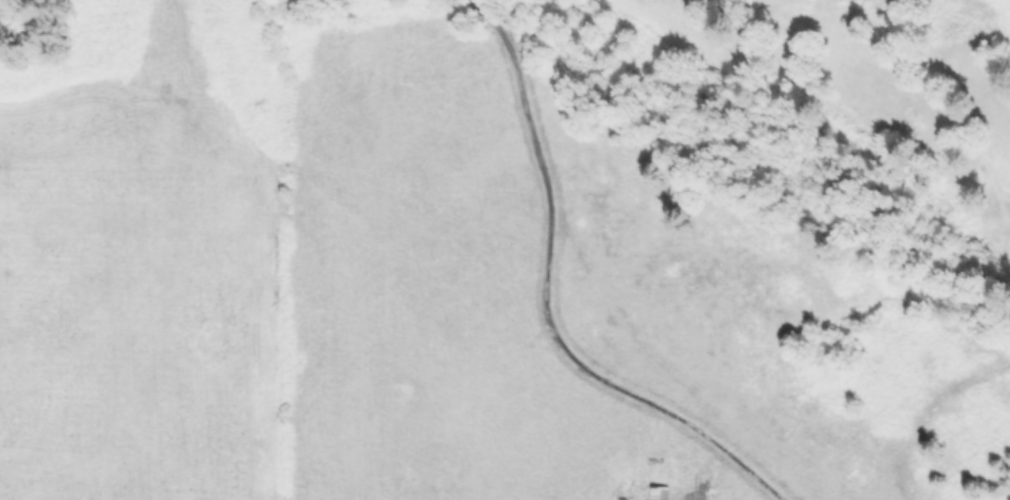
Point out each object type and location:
road: (545, 303)
building: (658, 492)
building: (622, 499)

